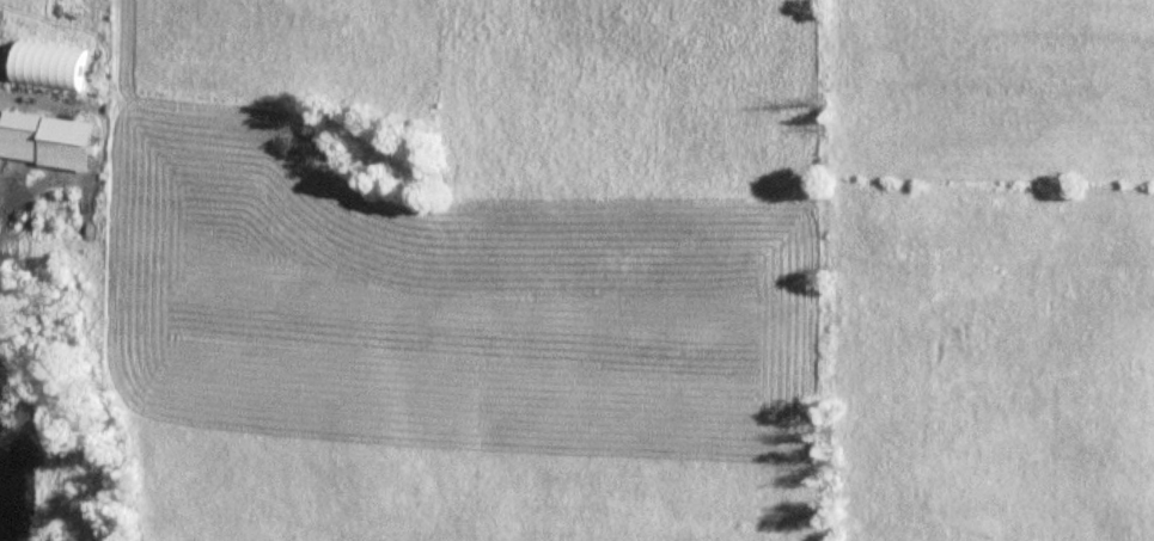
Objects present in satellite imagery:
building: (19, 121)

